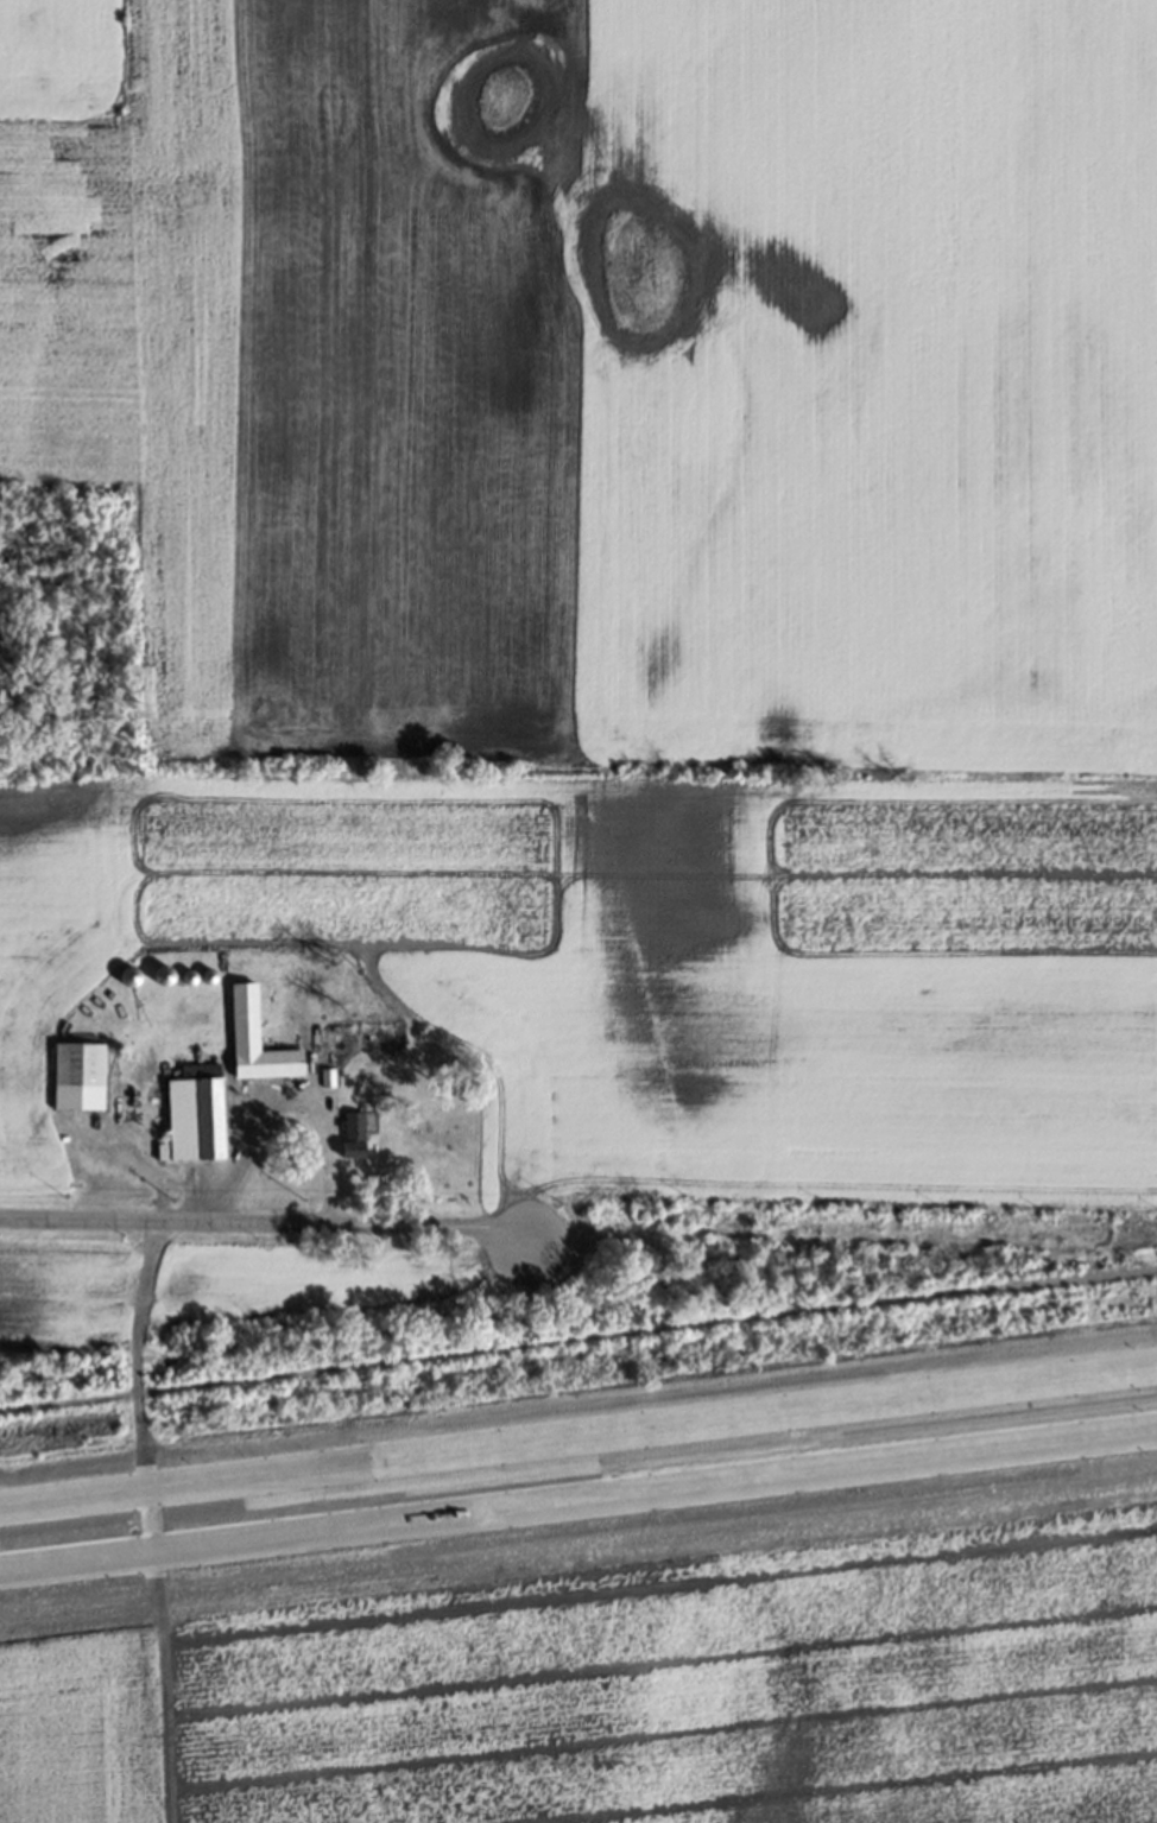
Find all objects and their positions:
crop: (621, 574)
building: (257, 1039)
building: (78, 1075)
road: (289, 1099)
building: (194, 1114)
building: (354, 1133)
road: (271, 1224)
road: (137, 1385)
road: (578, 1432)
road: (655, 1485)
road: (76, 1558)
crop: (622, 1667)
road: (159, 1685)

